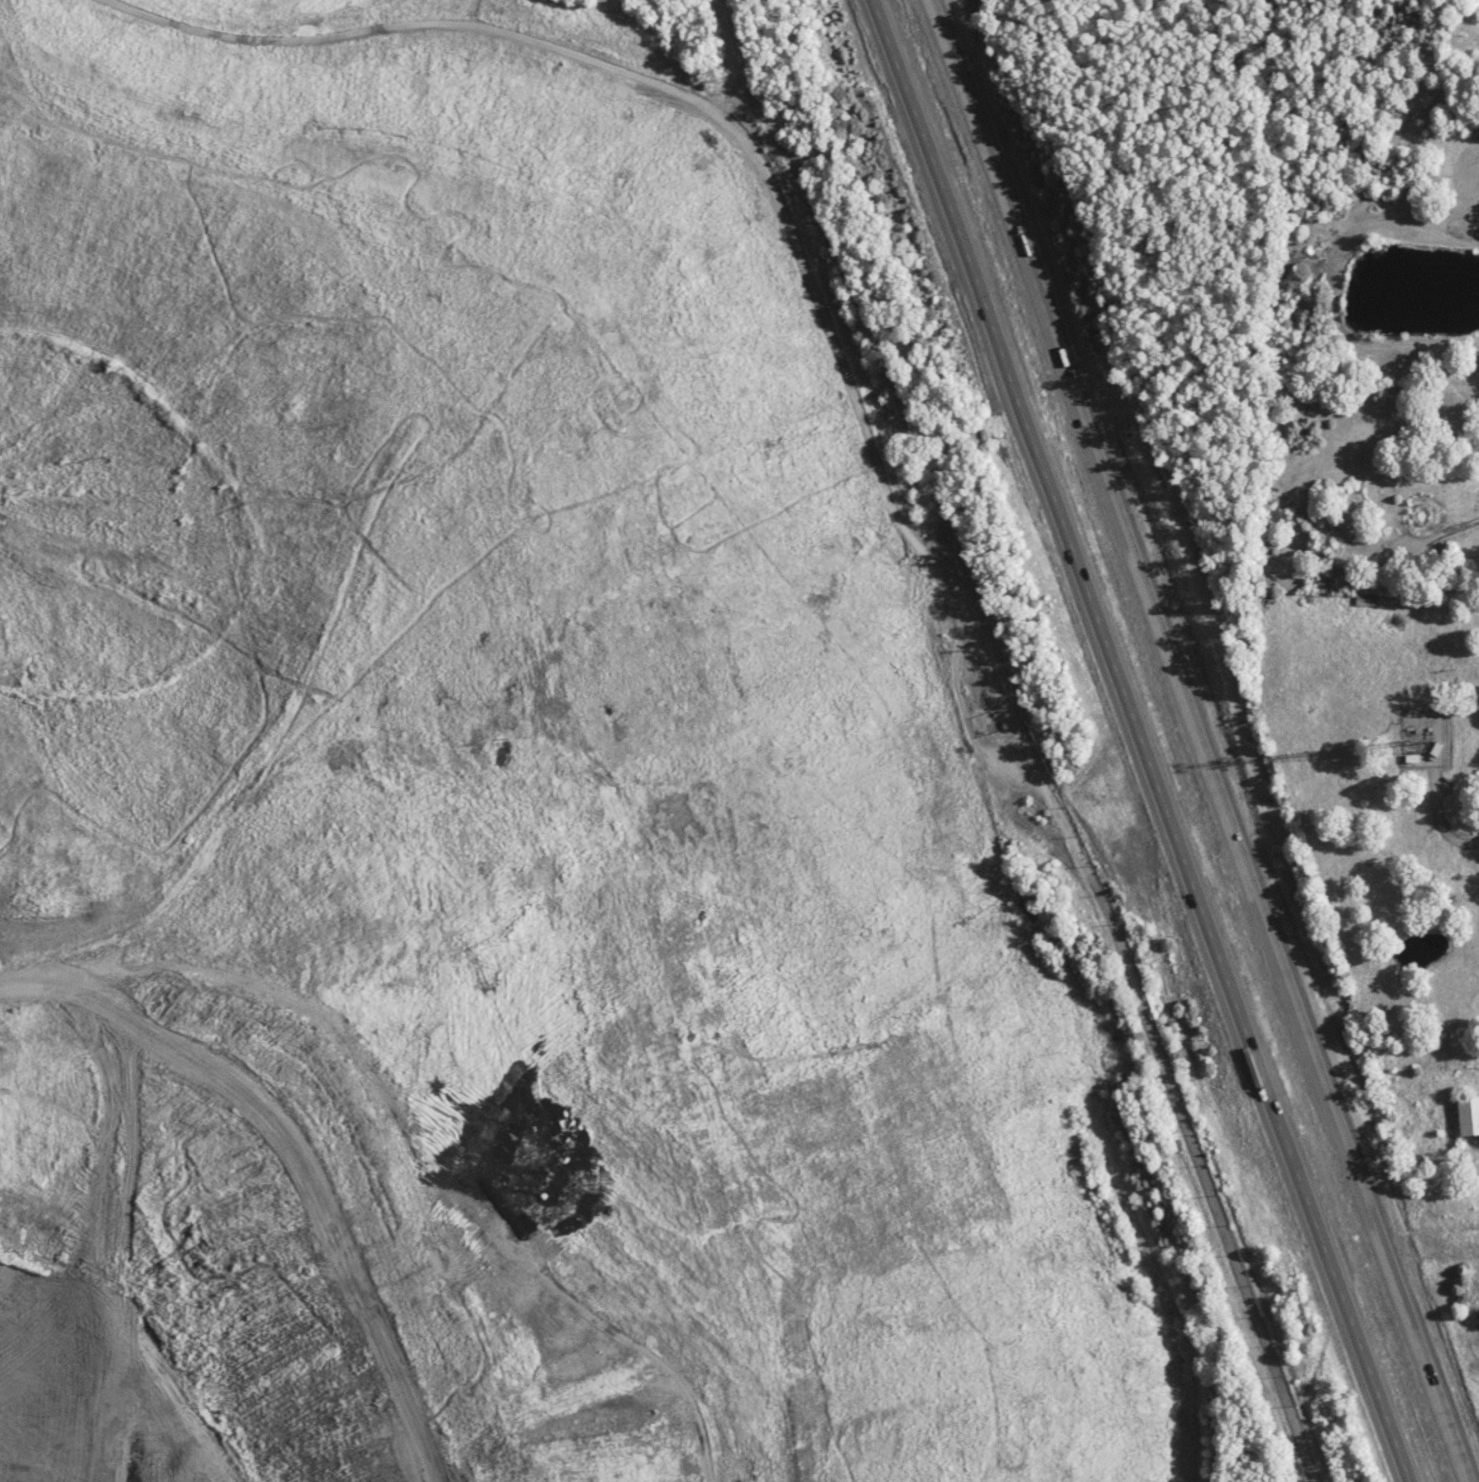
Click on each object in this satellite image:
road: (1138, 741)
road: (1210, 741)
road: (883, 801)
building: (1467, 1116)

